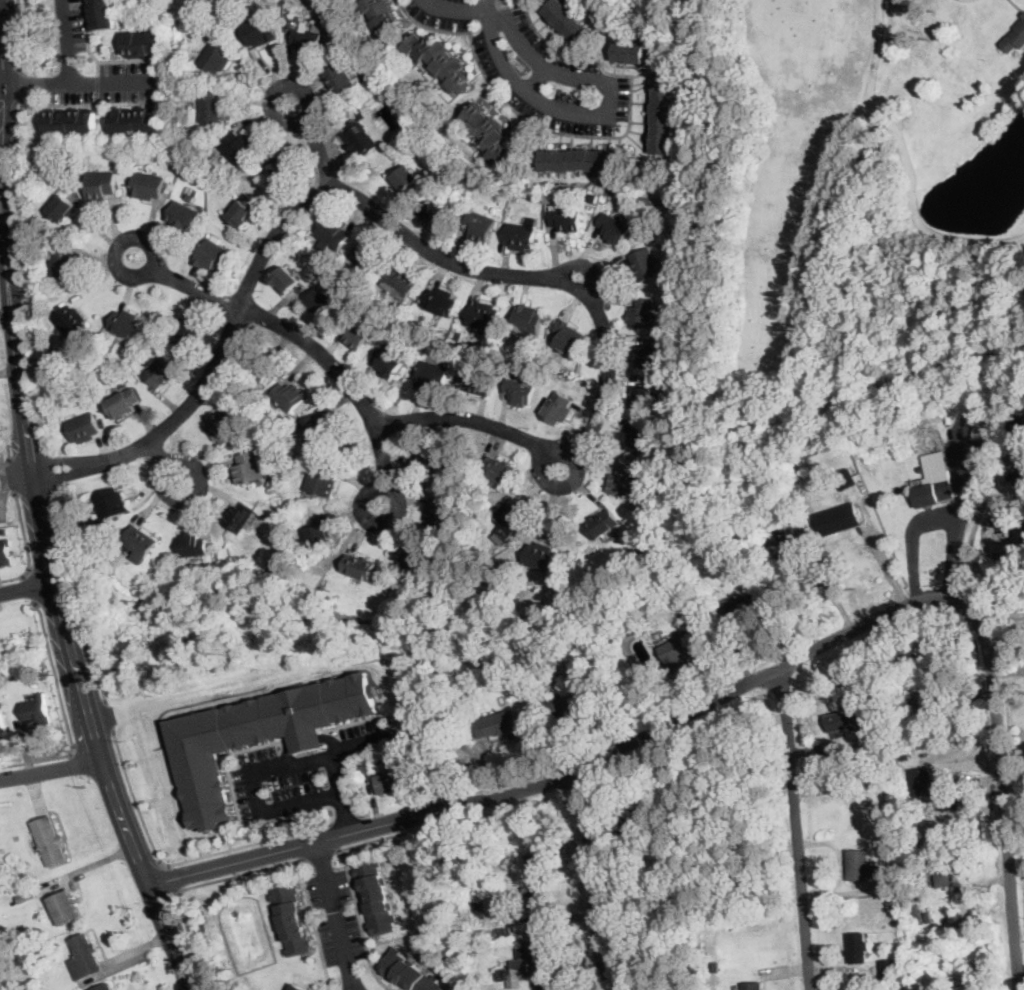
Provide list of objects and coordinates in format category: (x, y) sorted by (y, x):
building: (325, 8)
road: (454, 10)
road: (488, 10)
building: (101, 13)
building: (380, 13)
building: (178, 18)
building: (567, 22)
building: (259, 31)
road: (19, 36)
building: (1015, 37)
building: (306, 41)
road: (66, 42)
building: (144, 42)
road: (875, 44)
building: (629, 52)
building: (216, 57)
building: (439, 61)
building: (341, 79)
road: (535, 80)
road: (22, 84)
road: (80, 84)
road: (21, 108)
building: (211, 109)
road: (611, 111)
building: (663, 113)
building: (138, 120)
building: (70, 121)
building: (487, 132)
building: (362, 138)
road: (315, 143)
building: (186, 147)
building: (236, 147)
building: (252, 147)
building: (579, 160)
road: (0, 167)
building: (281, 168)
building: (406, 184)
building: (101, 185)
building: (149, 185)
building: (593, 196)
building: (190, 197)
building: (498, 201)
road: (913, 203)
building: (63, 208)
building: (242, 210)
building: (671, 212)
building: (435, 214)
building: (184, 216)
building: (565, 220)
building: (335, 226)
building: (478, 226)
building: (613, 229)
building: (520, 235)
building: (226, 243)
road: (421, 246)
building: (360, 253)
building: (213, 255)
building: (370, 259)
building: (47, 260)
building: (62, 264)
building: (643, 264)
building: (286, 280)
road: (186, 283)
building: (399, 284)
building: (438, 299)
building: (321, 301)
road: (8, 308)
building: (485, 313)
building: (641, 313)
building: (527, 319)
building: (71, 322)
building: (126, 323)
building: (356, 332)
building: (191, 335)
building: (567, 337)
building: (650, 356)
building: (387, 362)
building: (472, 363)
building: (245, 364)
building: (258, 366)
building: (161, 371)
building: (431, 377)
building: (481, 382)
building: (663, 384)
road: (346, 385)
building: (519, 392)
building: (288, 395)
building: (645, 398)
building: (122, 403)
building: (558, 408)
building: (983, 417)
building: (1023, 417)
building: (278, 423)
building: (1018, 427)
building: (84, 428)
building: (224, 428)
building: (316, 430)
building: (979, 435)
building: (638, 438)
building: (428, 458)
road: (166, 462)
building: (254, 467)
building: (242, 468)
building: (921, 468)
building: (498, 469)
building: (1020, 473)
building: (320, 479)
building: (844, 479)
building: (624, 480)
building: (934, 485)
building: (778, 500)
building: (759, 503)
building: (112, 504)
building: (443, 508)
building: (251, 517)
building: (237, 518)
building: (837, 519)
road: (933, 520)
building: (511, 521)
building: (601, 523)
building: (4, 531)
building: (320, 531)
road: (971, 535)
building: (781, 539)
building: (139, 543)
building: (192, 545)
building: (705, 545)
road: (28, 548)
building: (6, 554)
building: (483, 556)
building: (539, 556)
building: (215, 560)
building: (416, 562)
building: (361, 566)
building: (275, 567)
building: (261, 578)
building: (620, 582)
road: (27, 589)
road: (31, 589)
building: (497, 595)
building: (745, 606)
building: (701, 611)
building: (685, 619)
building: (914, 631)
building: (547, 642)
road: (94, 649)
building: (675, 649)
building: (906, 650)
building: (501, 663)
building: (516, 672)
building: (916, 692)
building: (931, 695)
building: (567, 704)
building: (38, 709)
road: (64, 711)
road: (111, 718)
building: (2, 719)
building: (844, 720)
building: (499, 724)
building: (259, 734)
building: (884, 744)
building: (831, 746)
building: (904, 752)
road: (336, 754)
building: (389, 754)
building: (360, 760)
road: (51, 770)
building: (902, 771)
road: (261, 773)
road: (105, 774)
building: (938, 774)
building: (865, 776)
road: (570, 778)
building: (390, 783)
road: (1002, 790)
building: (948, 795)
building: (908, 806)
building: (923, 807)
road: (365, 815)
road: (346, 819)
building: (632, 820)
road: (796, 831)
road: (393, 836)
building: (49, 841)
building: (871, 844)
building: (676, 852)
road: (320, 855)
road: (301, 860)
road: (179, 863)
building: (892, 864)
building: (858, 865)
building: (893, 873)
building: (944, 873)
building: (538, 879)
road: (173, 881)
road: (593, 881)
building: (0, 884)
road: (188, 889)
building: (941, 891)
building: (917, 893)
building: (375, 896)
building: (477, 907)
building: (65, 908)
building: (450, 909)
building: (918, 913)
building: (965, 914)
building: (292, 917)
road: (334, 917)
road: (360, 924)
road: (315, 925)
building: (511, 928)
building: (28, 938)
building: (857, 947)
building: (84, 957)
building: (541, 962)
building: (714, 967)
building: (407, 971)
building: (889, 971)
building: (751, 986)
building: (104, 987)
building: (300, 987)

